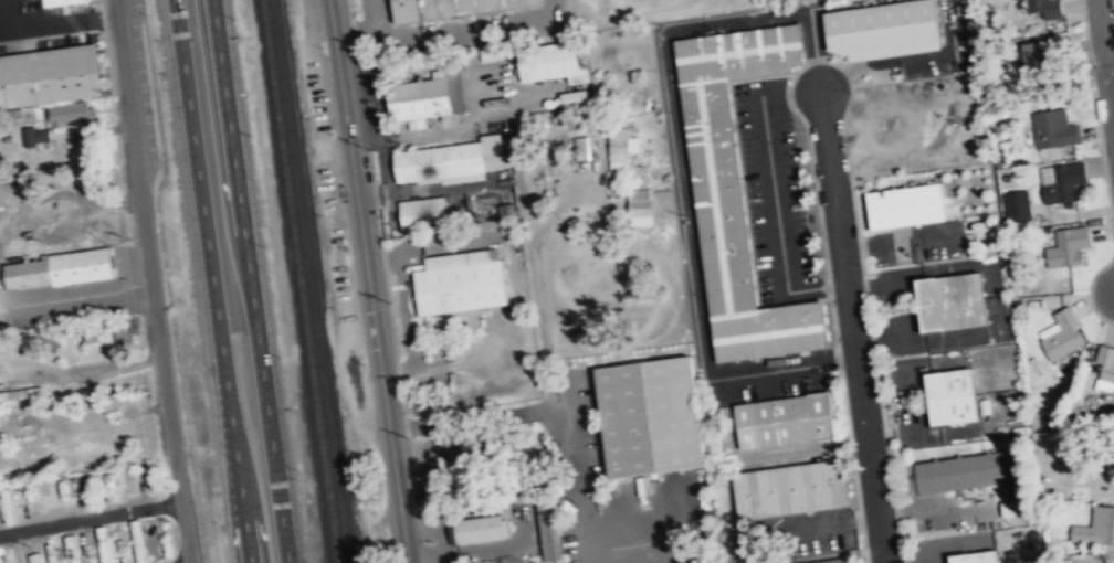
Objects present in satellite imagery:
building: (56, 1)
building: (1048, 8)
building: (450, 9)
road: (57, 22)
building: (879, 29)
building: (1045, 55)
road: (1106, 55)
building: (554, 63)
road: (1112, 74)
building: (49, 75)
parking lot: (145, 83)
building: (432, 98)
building: (577, 98)
building: (60, 120)
building: (1055, 129)
building: (621, 147)
building: (439, 164)
building: (1064, 182)
building: (732, 191)
building: (902, 205)
building: (1019, 205)
building: (642, 208)
building: (423, 216)
building: (1071, 246)
building: (61, 269)
road: (258, 280)
railway: (309, 280)
road: (150, 281)
road: (213, 281)
railway: (299, 281)
road: (367, 281)
building: (461, 284)
road: (76, 301)
building: (946, 302)
road: (852, 325)
building: (126, 334)
building: (1064, 334)
building: (1106, 369)
building: (947, 396)
building: (649, 418)
building: (784, 422)
building: (464, 458)
building: (955, 474)
building: (791, 489)
road: (91, 516)
building: (1096, 528)
building: (549, 530)
building: (479, 531)
building: (106, 544)
building: (72, 548)
building: (2, 555)
building: (36, 557)
building: (971, 557)
building: (834, 561)

